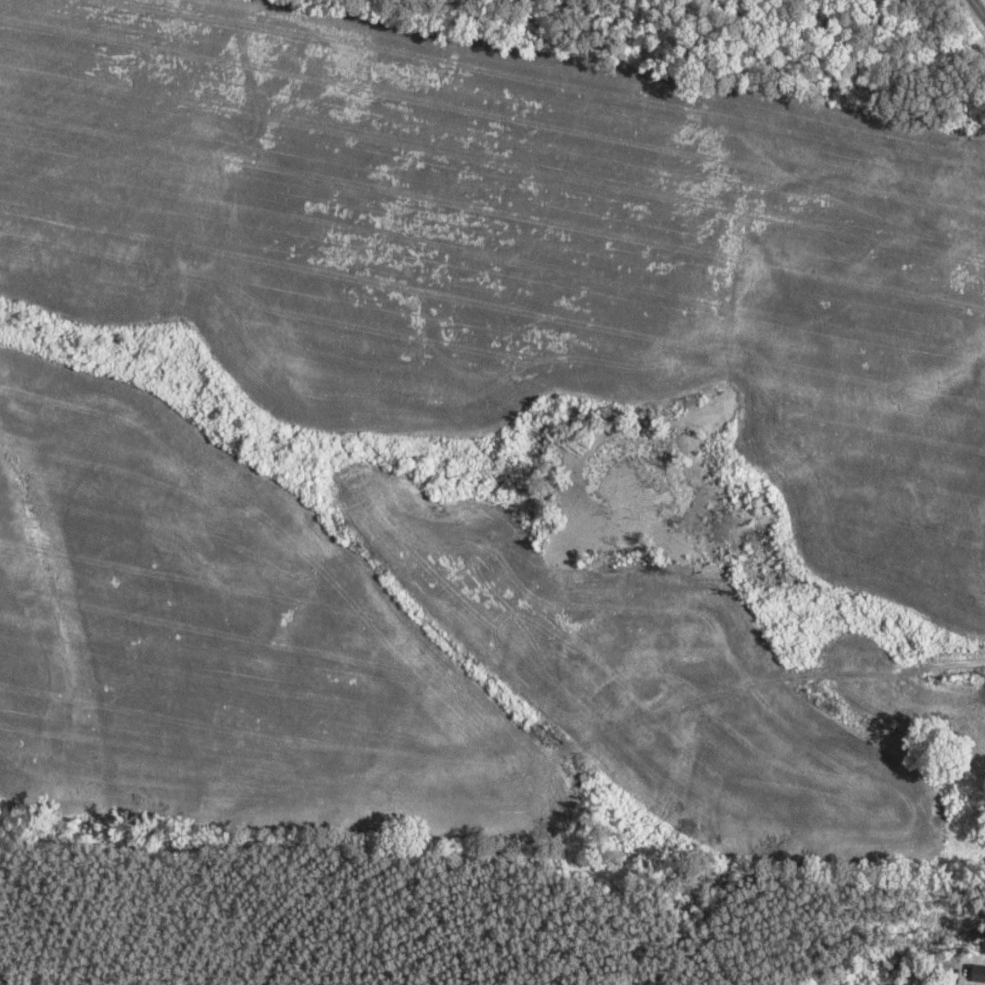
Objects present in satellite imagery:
road: (980, 6)
building: (663, 636)
building: (712, 658)
building: (606, 666)
road: (851, 678)
building: (644, 692)
building: (976, 973)
building: (941, 981)

